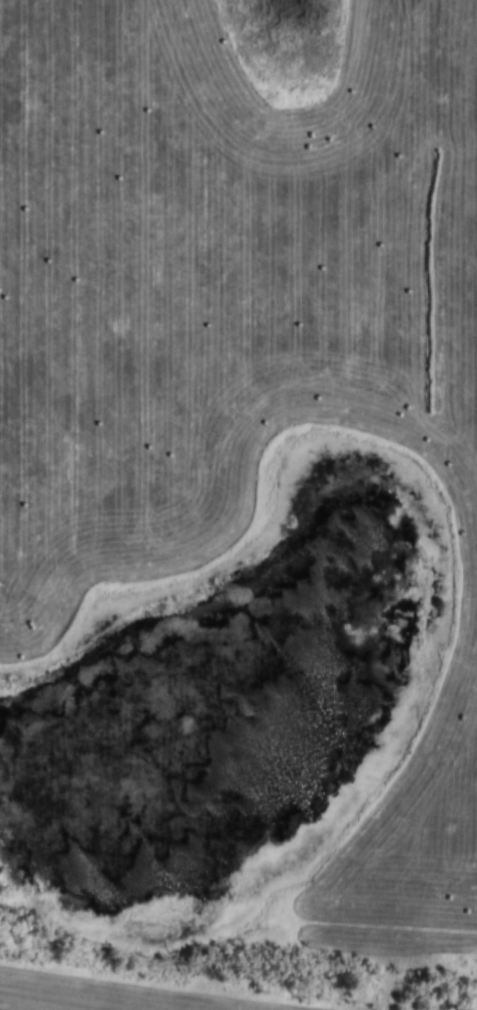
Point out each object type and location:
building: (170, 259)
building: (300, 315)
road: (238, 879)

